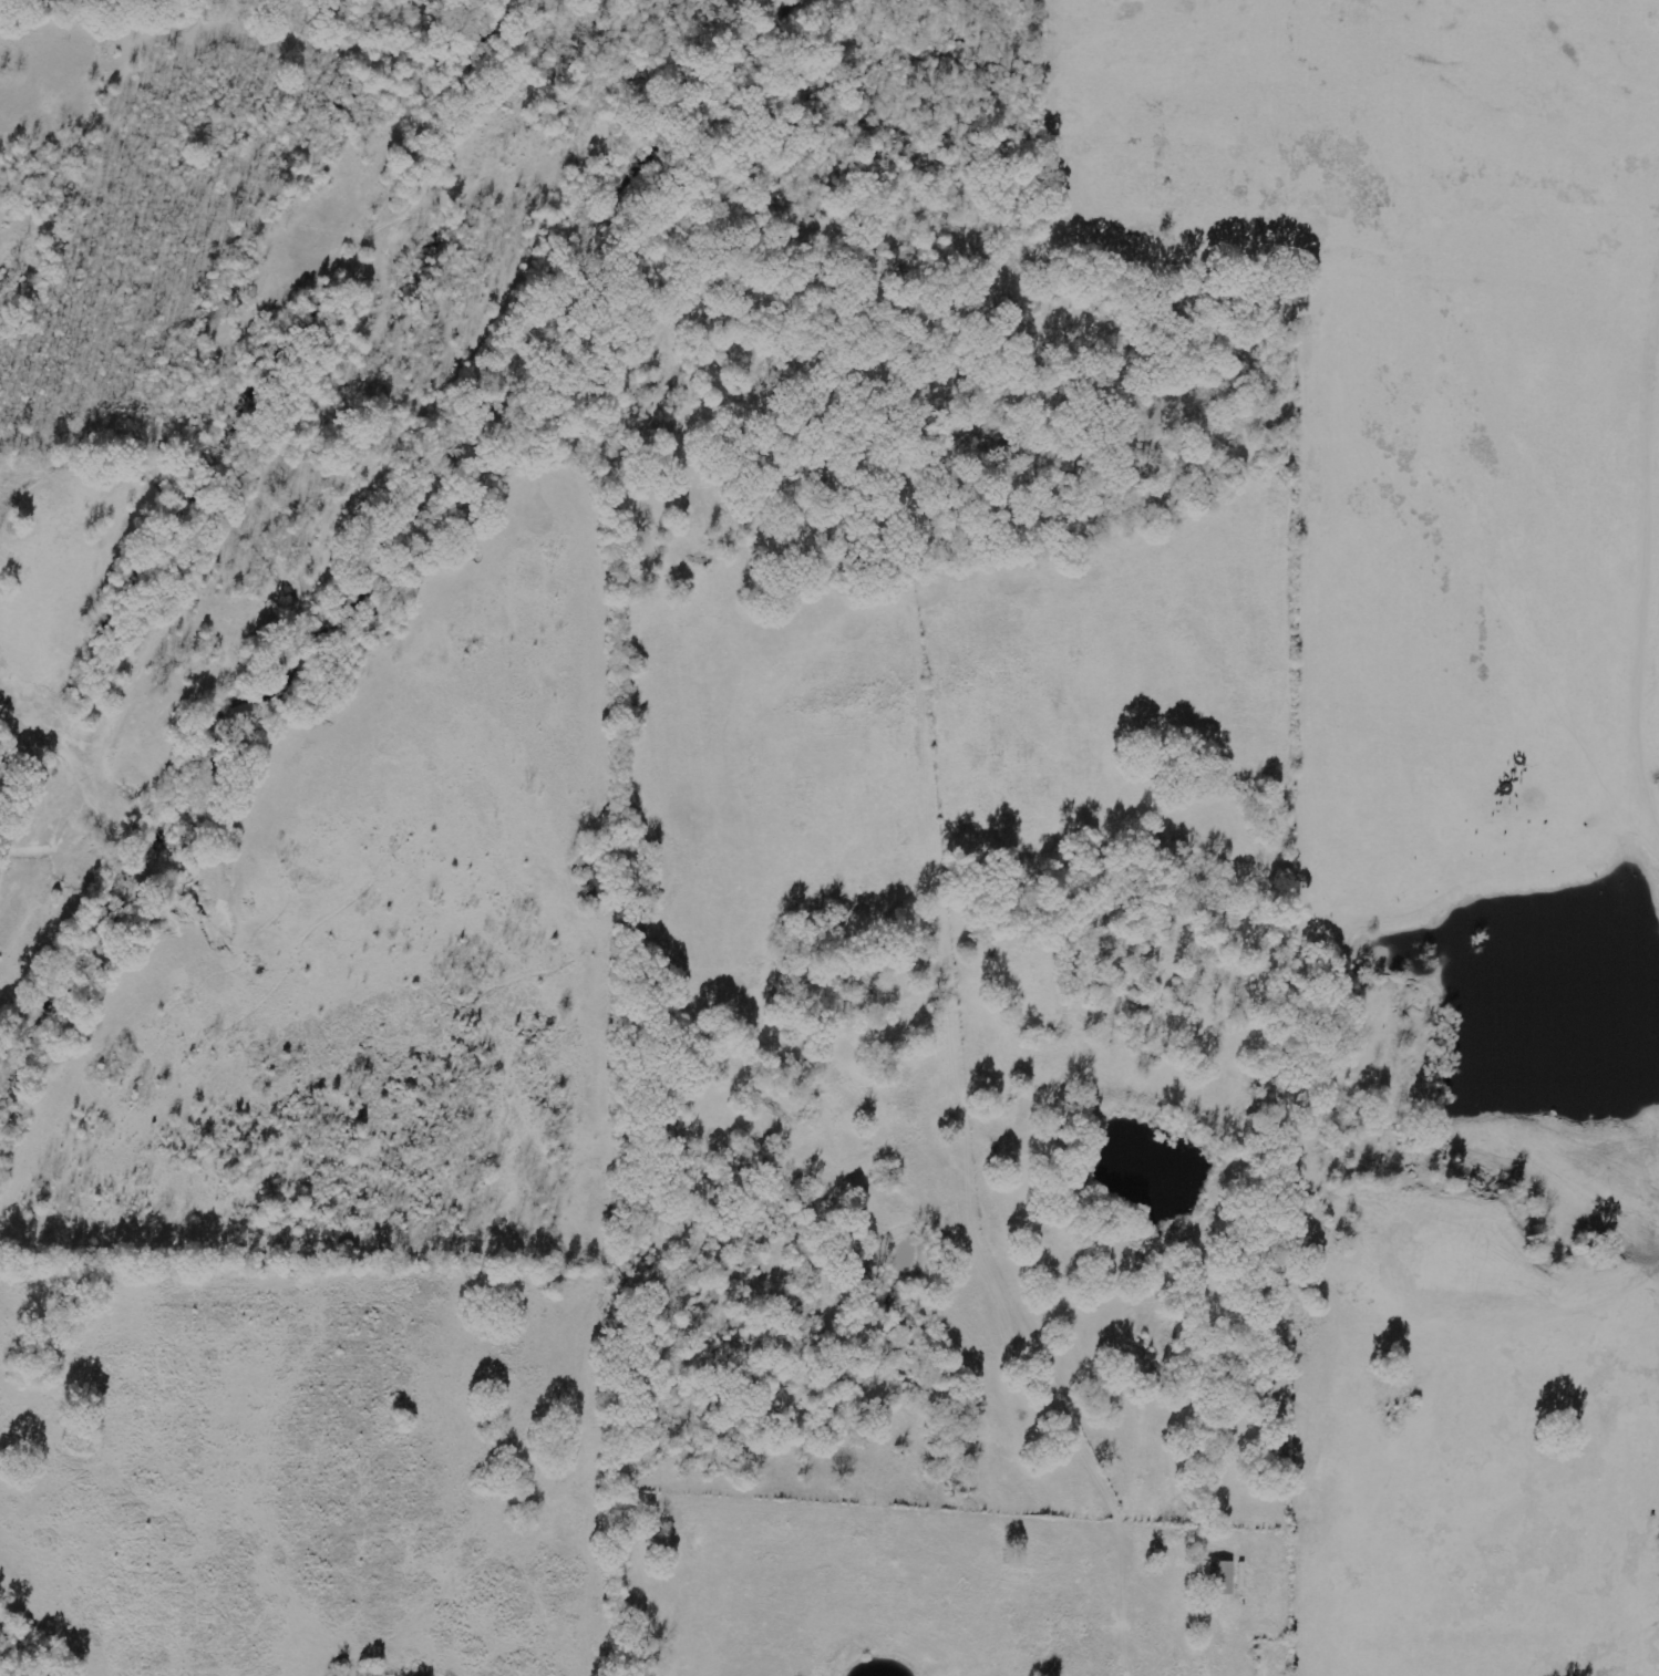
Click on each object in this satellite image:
building: (1219, 1579)

